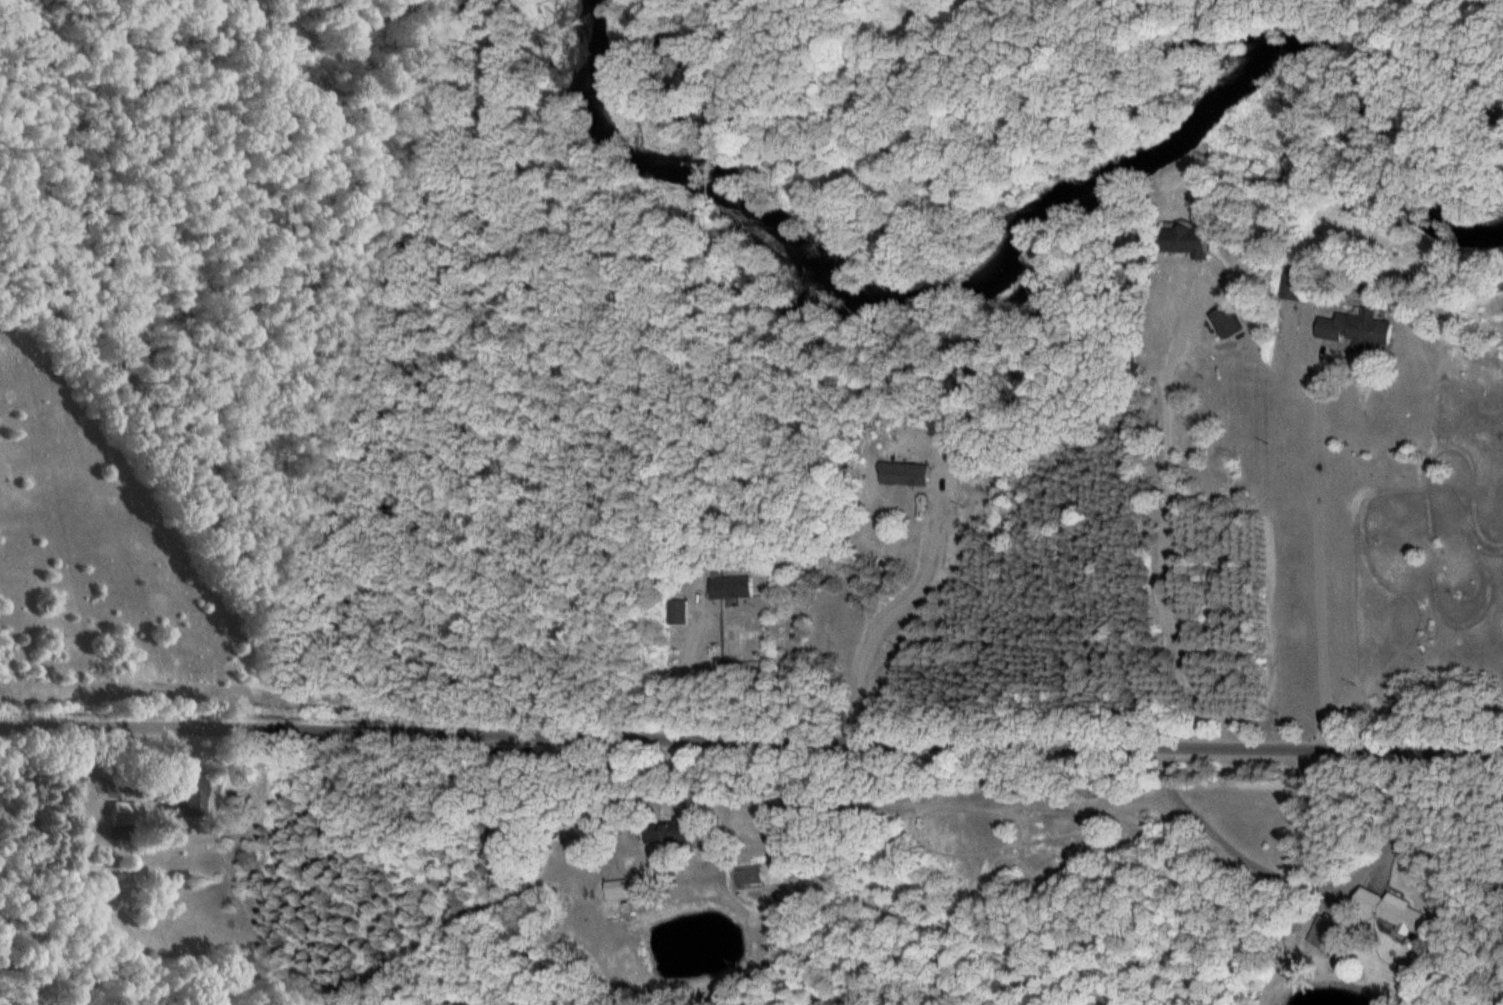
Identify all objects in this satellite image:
river: (1021, 228)
building: (1184, 241)
building: (1291, 282)
building: (1224, 321)
building: (1355, 329)
road: (1167, 514)
road: (1320, 542)
building: (730, 588)
building: (676, 612)
road: (751, 739)
building: (180, 795)
building: (118, 813)
building: (667, 832)
building: (1393, 911)
building: (1329, 933)

